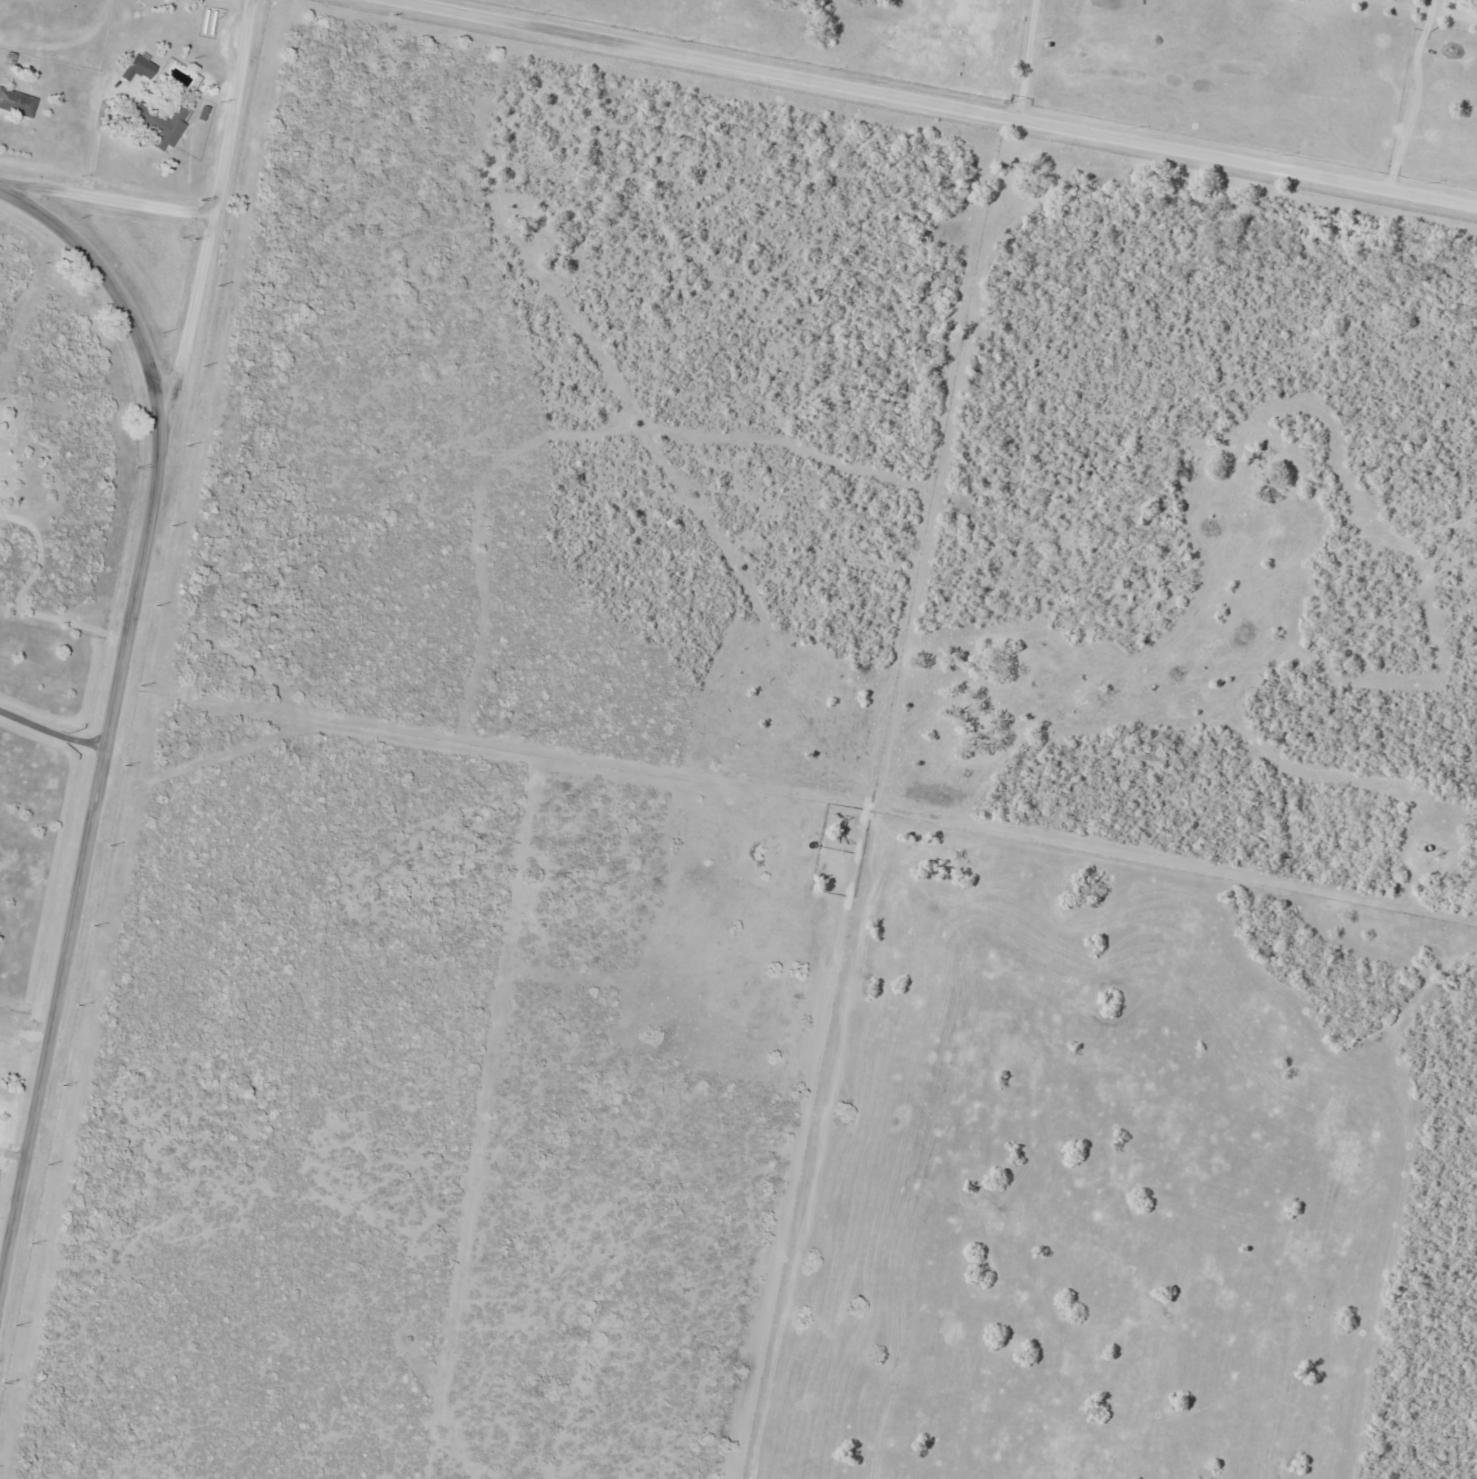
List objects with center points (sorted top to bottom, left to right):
building: (140, 69)
building: (18, 102)
road: (916, 103)
building: (159, 125)
road: (109, 197)
road: (212, 241)
road: (115, 707)

